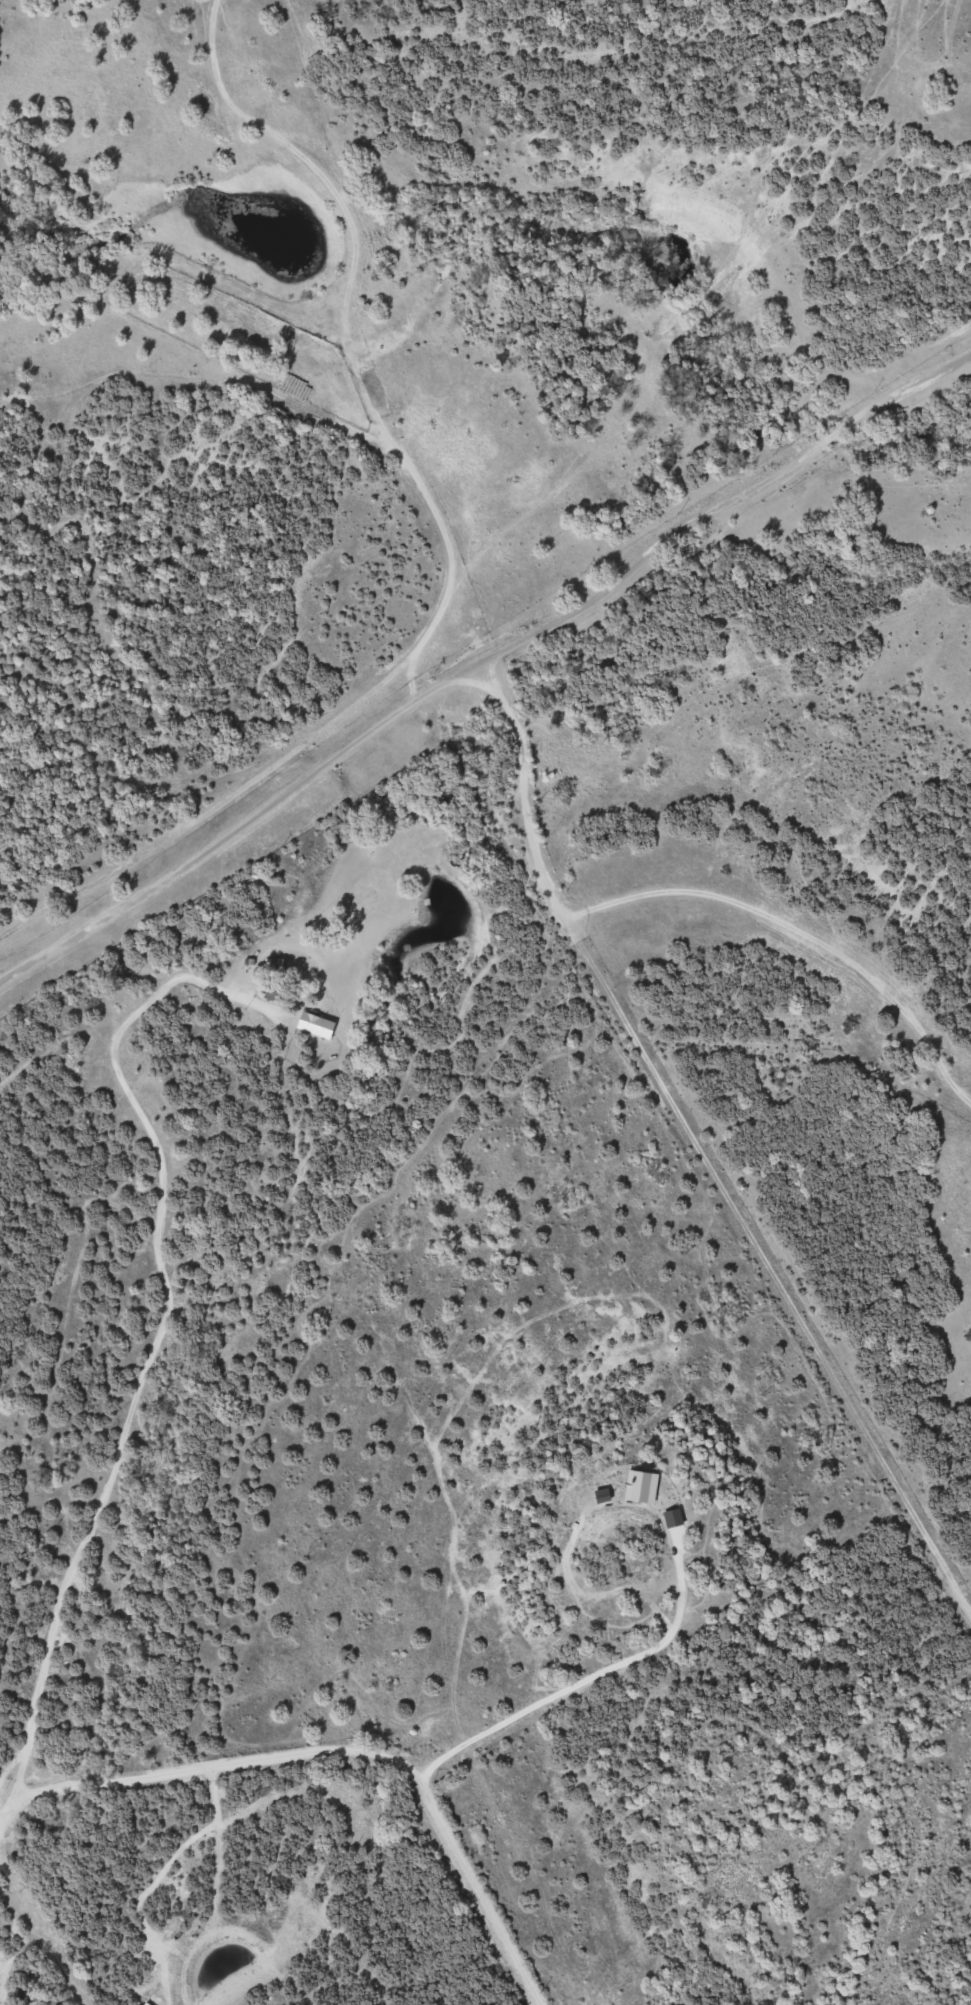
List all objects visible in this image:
road: (480, 652)
building: (318, 1022)
road: (330, 1754)

